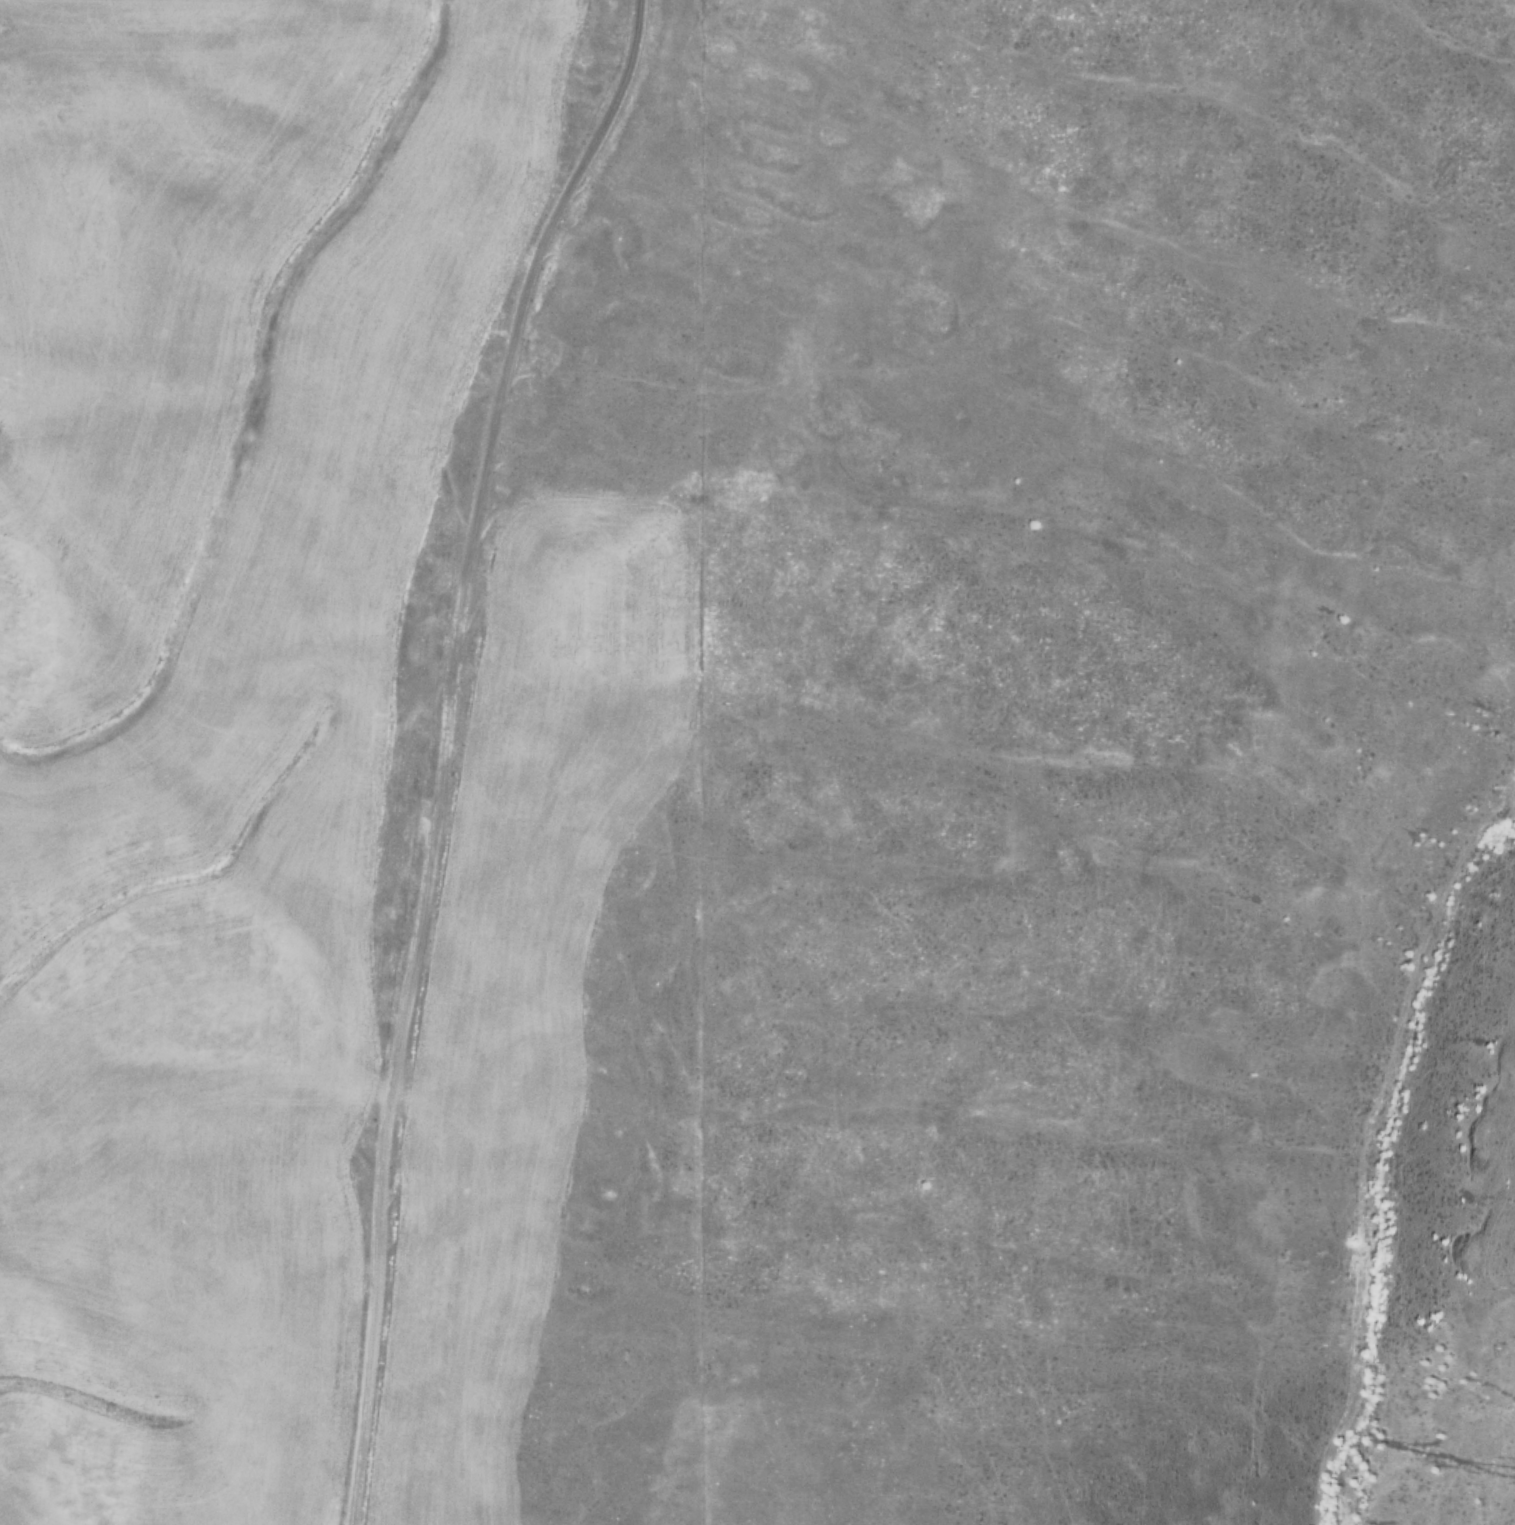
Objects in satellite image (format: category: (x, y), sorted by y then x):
road: (447, 750)

